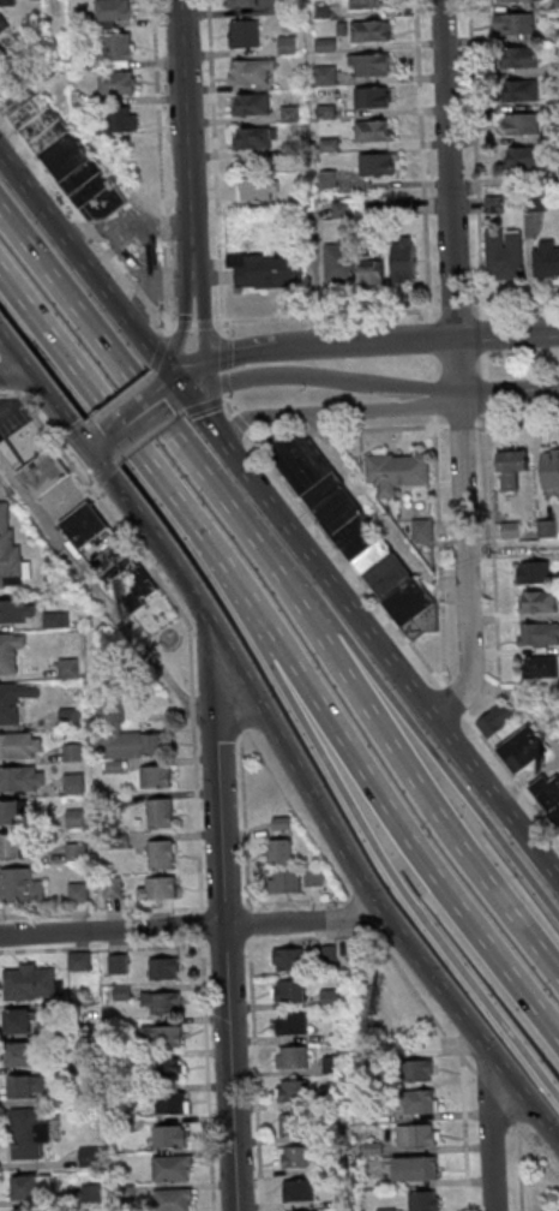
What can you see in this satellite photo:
building: (518, 0)
building: (7, 2)
building: (241, 2)
building: (368, 4)
building: (113, 10)
building: (513, 23)
building: (2, 24)
building: (369, 30)
building: (244, 32)
building: (119, 48)
building: (519, 56)
building: (368, 64)
building: (250, 70)
building: (325, 73)
building: (116, 82)
building: (522, 90)
building: (372, 96)
building: (250, 103)
building: (121, 118)
building: (522, 123)
building: (374, 129)
building: (254, 137)
road: (185, 139)
building: (64, 154)
building: (523, 156)
road: (215, 160)
road: (420, 160)
road: (160, 162)
building: (379, 163)
road: (447, 168)
building: (259, 187)
road: (83, 217)
building: (504, 253)
building: (403, 258)
building: (546, 258)
building: (338, 263)
building: (266, 269)
building: (371, 270)
road: (456, 309)
road: (329, 315)
road: (204, 317)
road: (193, 323)
road: (180, 327)
road: (506, 334)
road: (428, 336)
road: (363, 342)
road: (158, 348)
road: (241, 352)
road: (223, 358)
road: (429, 366)
road: (194, 369)
road: (211, 370)
road: (7, 376)
road: (14, 376)
traffic signals: (180, 378)
road: (368, 380)
road: (172, 386)
road: (8, 393)
road: (44, 396)
road: (119, 396)
road: (432, 396)
road: (204, 404)
road: (227, 406)
road: (101, 408)
road: (336, 412)
road: (133, 419)
road: (239, 420)
road: (517, 420)
road: (459, 423)
road: (345, 428)
road: (73, 434)
road: (149, 436)
road: (96, 451)
traffic signals: (90, 457)
building: (549, 466)
building: (512, 469)
building: (396, 471)
building: (42, 472)
road: (104, 476)
road: (106, 508)
road: (278, 513)
road: (377, 517)
building: (83, 524)
building: (547, 527)
building: (422, 530)
building: (356, 535)
road: (463, 535)
road: (152, 539)
road: (511, 545)
road: (438, 547)
building: (10, 553)
road: (345, 555)
building: (533, 571)
building: (126, 575)
road: (290, 592)
building: (537, 601)
road: (107, 605)
building: (17, 610)
building: (55, 619)
building: (537, 634)
building: (8, 650)
building: (540, 666)
building: (68, 667)
road: (220, 679)
road: (453, 698)
building: (14, 699)
road: (521, 703)
building: (70, 716)
building: (495, 720)
building: (125, 734)
building: (20, 745)
building: (522, 748)
building: (72, 751)
road: (262, 758)
road: (437, 758)
road: (194, 769)
road: (511, 772)
building: (156, 776)
building: (22, 777)
building: (72, 782)
road: (378, 791)
building: (548, 795)
building: (11, 811)
building: (160, 812)
road: (244, 821)
building: (282, 822)
road: (361, 831)
building: (11, 845)
building: (76, 851)
building: (281, 851)
building: (162, 854)
building: (284, 881)
building: (20, 885)
building: (112, 887)
building: (160, 887)
building: (78, 891)
road: (368, 893)
road: (289, 902)
road: (224, 906)
road: (102, 911)
road: (222, 918)
road: (248, 921)
road: (200, 923)
road: (192, 926)
road: (288, 937)
road: (227, 939)
road: (103, 945)
building: (326, 956)
building: (79, 960)
building: (287, 960)
building: (118, 962)
building: (163, 967)
building: (29, 982)
building: (289, 994)
building: (327, 1000)
building: (161, 1001)
building: (19, 1020)
building: (290, 1025)
building: (162, 1034)
building: (22, 1054)
building: (290, 1058)
building: (331, 1066)
building: (366, 1067)
building: (168, 1068)
building: (413, 1070)
road: (254, 1072)
road: (206, 1073)
building: (25, 1086)
building: (293, 1092)
building: (413, 1100)
building: (172, 1102)
building: (294, 1126)
road: (488, 1129)
building: (28, 1132)
building: (337, 1133)
building: (170, 1135)
building: (414, 1135)
building: (371, 1149)
building: (89, 1156)
building: (294, 1158)
building: (173, 1167)
building: (414, 1169)
building: (30, 1186)
building: (296, 1191)
building: (92, 1193)
building: (173, 1199)
building: (343, 1201)
building: (421, 1201)
building: (548, 1205)
building: (25, 1209)
building: (384, 1209)

